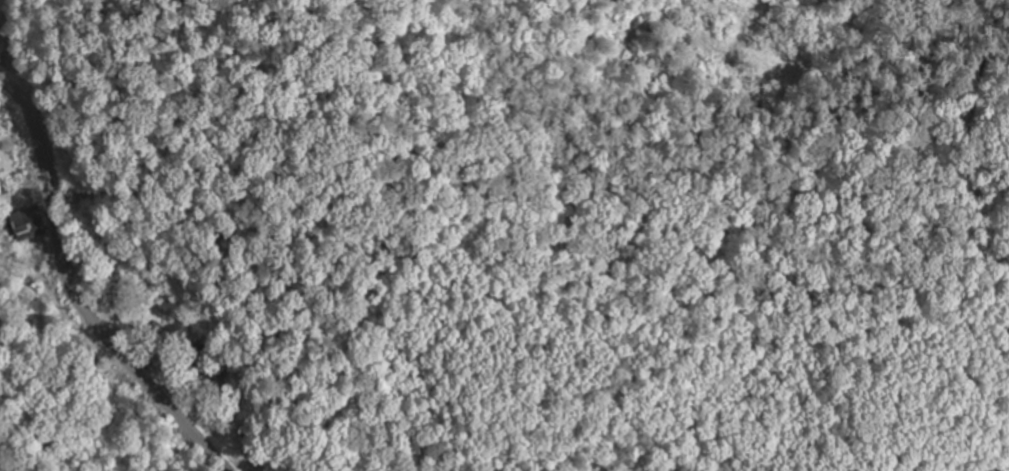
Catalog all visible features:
building: (29, 222)
road: (76, 295)
road: (112, 329)

